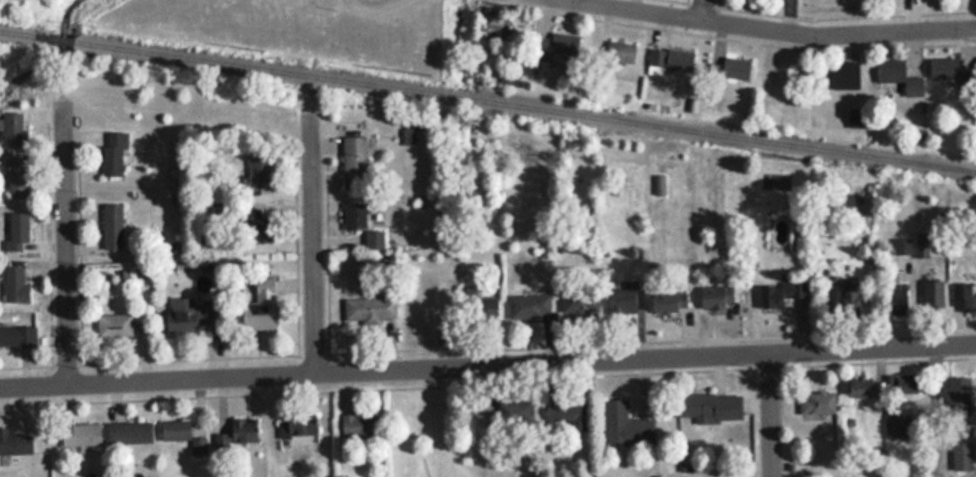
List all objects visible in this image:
road: (692, 1)
road: (723, 3)
road: (703, 10)
road: (825, 20)
road: (777, 30)
railway: (16, 36)
railway: (52, 41)
road: (740, 41)
building: (551, 45)
building: (619, 52)
building: (669, 59)
building: (733, 67)
building: (943, 68)
building: (838, 75)
building: (897, 77)
railway: (524, 108)
building: (853, 118)
building: (11, 129)
building: (112, 153)
building: (352, 162)
building: (256, 174)
building: (16, 177)
building: (361, 225)
building: (111, 226)
building: (260, 229)
building: (15, 230)
road: (55, 239)
road: (86, 242)
building: (920, 243)
road: (69, 245)
road: (317, 245)
road: (332, 245)
building: (901, 245)
building: (11, 283)
building: (773, 295)
building: (932, 296)
building: (967, 297)
building: (710, 298)
building: (622, 299)
building: (895, 300)
building: (668, 301)
building: (579, 302)
building: (843, 302)
building: (260, 305)
building: (528, 306)
building: (370, 309)
building: (484, 309)
building: (423, 311)
building: (206, 312)
building: (179, 315)
building: (112, 326)
building: (16, 337)
road: (487, 350)
road: (487, 365)
road: (488, 383)
building: (901, 383)
building: (858, 388)
building: (958, 397)
building: (815, 403)
building: (709, 407)
road: (935, 411)
building: (562, 415)
road: (770, 415)
building: (895, 420)
building: (623, 425)
building: (357, 426)
building: (296, 429)
building: (173, 430)
building: (241, 431)
building: (128, 433)
building: (78, 435)
building: (14, 443)
building: (197, 447)
building: (960, 456)

